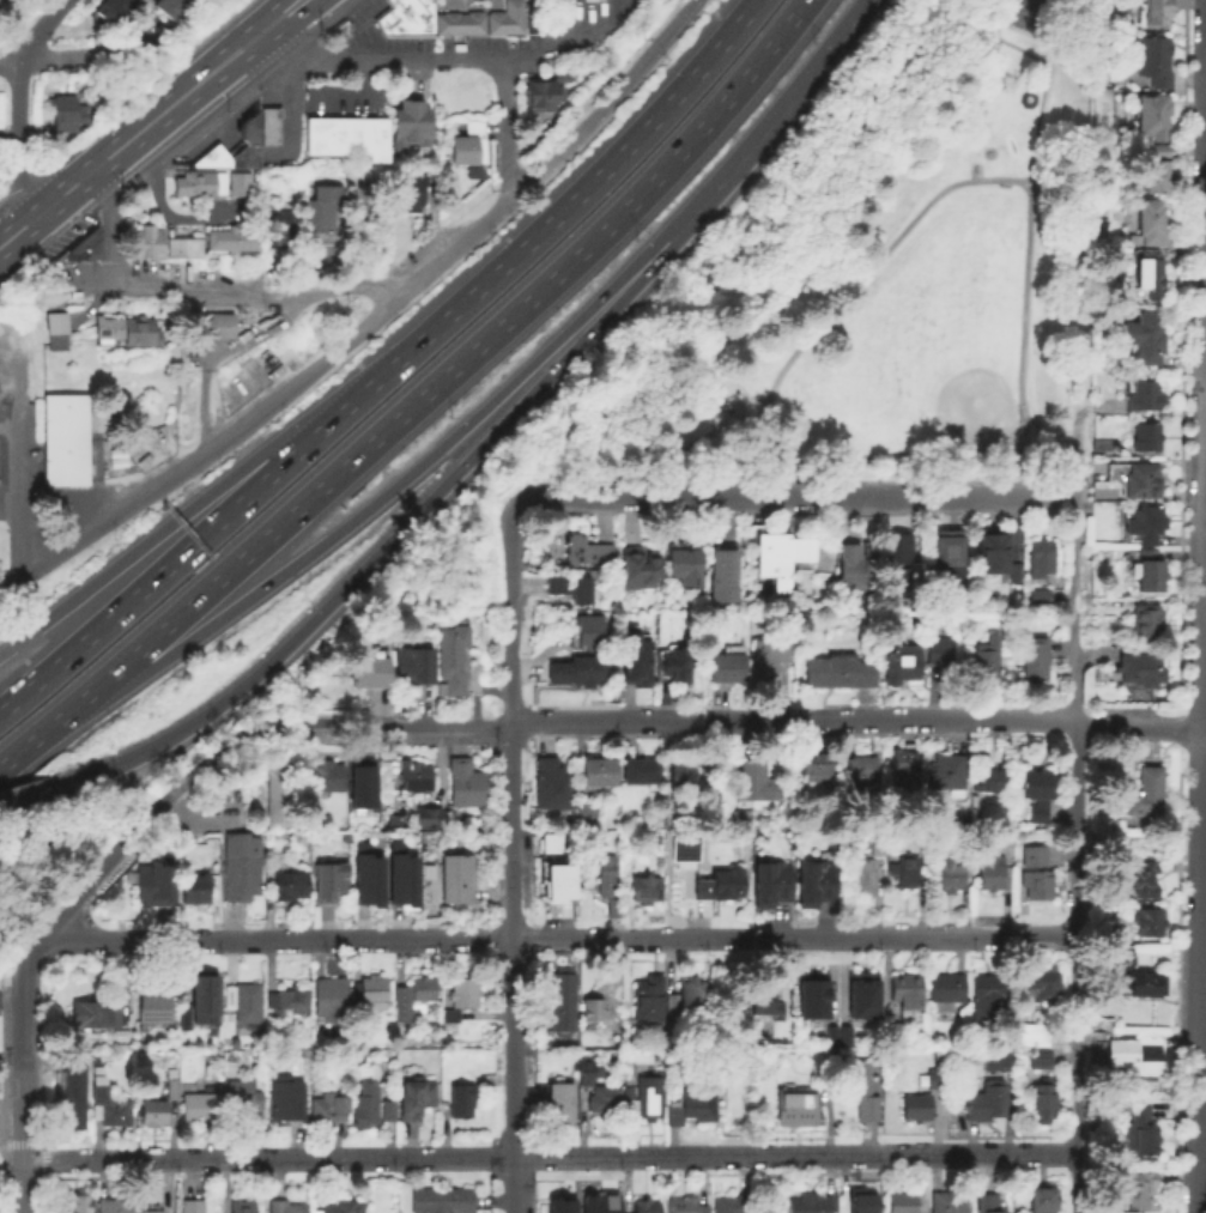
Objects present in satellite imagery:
building: (588, 0)
building: (424, 7)
building: (181, 8)
parking lot: (364, 8)
building: (119, 12)
road: (285, 12)
park: (1028, 12)
building: (1158, 13)
building: (408, 17)
building: (505, 18)
building: (456, 22)
road: (1050, 22)
building: (387, 23)
building: (532, 24)
building: (339, 26)
road: (37, 30)
parking lot: (423, 43)
road: (563, 43)
road: (133, 49)
road: (51, 59)
building: (1155, 59)
road: (376, 60)
road: (266, 63)
building: (549, 68)
road: (360, 75)
road: (347, 92)
building: (544, 96)
road: (180, 98)
road: (289, 101)
road: (782, 111)
building: (67, 115)
building: (1155, 115)
building: (267, 125)
building: (405, 125)
building: (423, 126)
road: (505, 128)
building: (351, 138)
road: (20, 140)
building: (234, 146)
building: (471, 146)
building: (1160, 151)
road: (608, 159)
building: (477, 176)
building: (1158, 176)
building: (212, 186)
road: (68, 190)
building: (331, 195)
building: (406, 195)
building: (320, 211)
road: (163, 214)
building: (1150, 222)
road: (110, 223)
road: (909, 225)
road: (23, 226)
building: (320, 226)
road: (443, 231)
building: (281, 232)
road: (354, 239)
building: (232, 242)
building: (147, 244)
building: (83, 247)
building: (184, 249)
road: (316, 271)
building: (1149, 274)
park: (935, 277)
road: (254, 293)
road: (369, 321)
building: (204, 323)
building: (56, 333)
building: (131, 333)
building: (1146, 338)
building: (174, 350)
road: (217, 359)
road: (446, 370)
park: (943, 382)
building: (1144, 395)
road: (1025, 419)
building: (1149, 437)
building: (66, 443)
building: (1101, 443)
road: (22, 447)
road: (225, 477)
building: (1137, 477)
road: (393, 489)
road: (557, 497)
road: (873, 497)
road: (632, 498)
road: (11, 507)
road: (229, 510)
building: (1144, 523)
road: (1205, 523)
road: (399, 526)
building: (590, 551)
building: (949, 552)
building: (995, 553)
building: (1044, 554)
building: (782, 557)
building: (902, 563)
building: (685, 565)
road: (1075, 565)
building: (857, 566)
building: (638, 569)
building: (1151, 570)
building: (1018, 572)
building: (725, 576)
building: (572, 588)
building: (1041, 596)
road: (510, 612)
building: (1149, 621)
building: (586, 637)
building: (940, 649)
building: (1036, 657)
building: (453, 659)
building: (632, 662)
building: (768, 662)
building: (987, 662)
building: (902, 663)
building: (675, 665)
building: (1143, 667)
building: (727, 668)
building: (414, 669)
building: (371, 671)
building: (575, 672)
building: (840, 672)
road: (860, 721)
road: (31, 739)
road: (247, 739)
road: (1201, 760)
building: (814, 765)
building: (902, 766)
building: (641, 769)
building: (600, 770)
building: (946, 772)
building: (681, 774)
building: (328, 775)
building: (416, 775)
building: (871, 776)
building: (989, 780)
building: (753, 781)
building: (467, 783)
building: (554, 784)
building: (359, 786)
road: (35, 792)
building: (1147, 793)
building: (1036, 794)
building: (281, 797)
building: (587, 813)
building: (426, 817)
building: (392, 820)
road: (511, 831)
building: (683, 850)
building: (550, 851)
building: (1035, 856)
building: (242, 867)
building: (989, 871)
building: (607, 874)
building: (863, 874)
building: (364, 875)
building: (399, 875)
building: (910, 875)
building: (457, 877)
building: (949, 877)
building: (1139, 879)
building: (327, 880)
building: (556, 883)
building: (291, 884)
building: (723, 884)
building: (1037, 884)
building: (196, 886)
building: (770, 886)
building: (816, 887)
building: (153, 888)
building: (647, 888)
building: (613, 906)
building: (1150, 921)
building: (1114, 933)
road: (280, 938)
road: (793, 939)
road: (37, 944)
road: (1075, 968)
building: (1133, 976)
building: (1044, 982)
parking lot: (0, 984)
building: (424, 987)
building: (989, 987)
building: (946, 988)
road: (12, 991)
building: (903, 991)
building: (368, 994)
building: (810, 994)
building: (860, 994)
building: (460, 996)
building: (331, 999)
building: (244, 1000)
building: (289, 1000)
building: (154, 1001)
building: (563, 1001)
building: (650, 1001)
building: (766, 1001)
building: (199, 1003)
building: (686, 1006)
building: (598, 1008)
building: (404, 1011)
building: (98, 1017)
building: (895, 1032)
building: (1032, 1033)
building: (829, 1035)
building: (842, 1035)
building: (1139, 1053)
building: (1038, 1056)
building: (829, 1057)
building: (993, 1063)
road: (513, 1074)
building: (584, 1076)
building: (171, 1082)
building: (860, 1087)
road: (24, 1090)
building: (925, 1093)
building: (73, 1096)
building: (286, 1096)
building: (416, 1097)
building: (646, 1097)
building: (461, 1098)
building: (243, 1099)
building: (987, 1099)
building: (562, 1102)
building: (602, 1102)
building: (695, 1104)
building: (1041, 1104)
building: (199, 1105)
building: (365, 1105)
building: (110, 1106)
building: (327, 1108)
building: (388, 1108)
building: (795, 1108)
building: (151, 1111)
building: (1141, 1130)
road: (1202, 1144)
road: (602, 1158)
road: (77, 1160)
building: (1145, 1191)
building: (442, 1199)
building: (862, 1201)
building: (1043, 1201)
building: (598, 1202)
building: (902, 1202)
building: (950, 1202)
building: (731, 1203)
building: (115, 1205)
building: (193, 1205)
building: (558, 1205)
building: (646, 1205)
building: (684, 1205)
building: (988, 1205)
building: (75, 1206)
building: (242, 1206)
building: (286, 1206)
building: (812, 1206)
building: (343, 1208)
building: (153, 1211)

